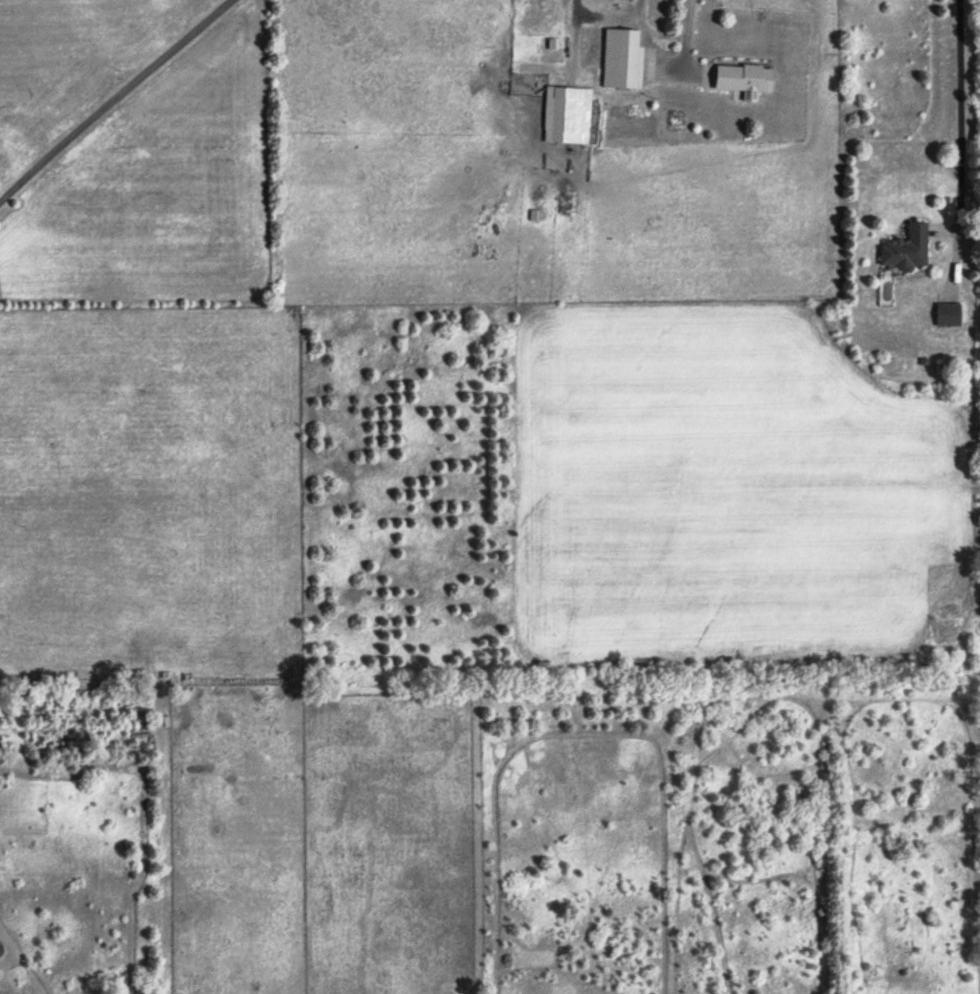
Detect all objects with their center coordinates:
road: (669, 60)
building: (623, 61)
building: (746, 82)
road: (112, 97)
building: (567, 118)
road: (960, 139)
building: (906, 250)
building: (947, 316)

